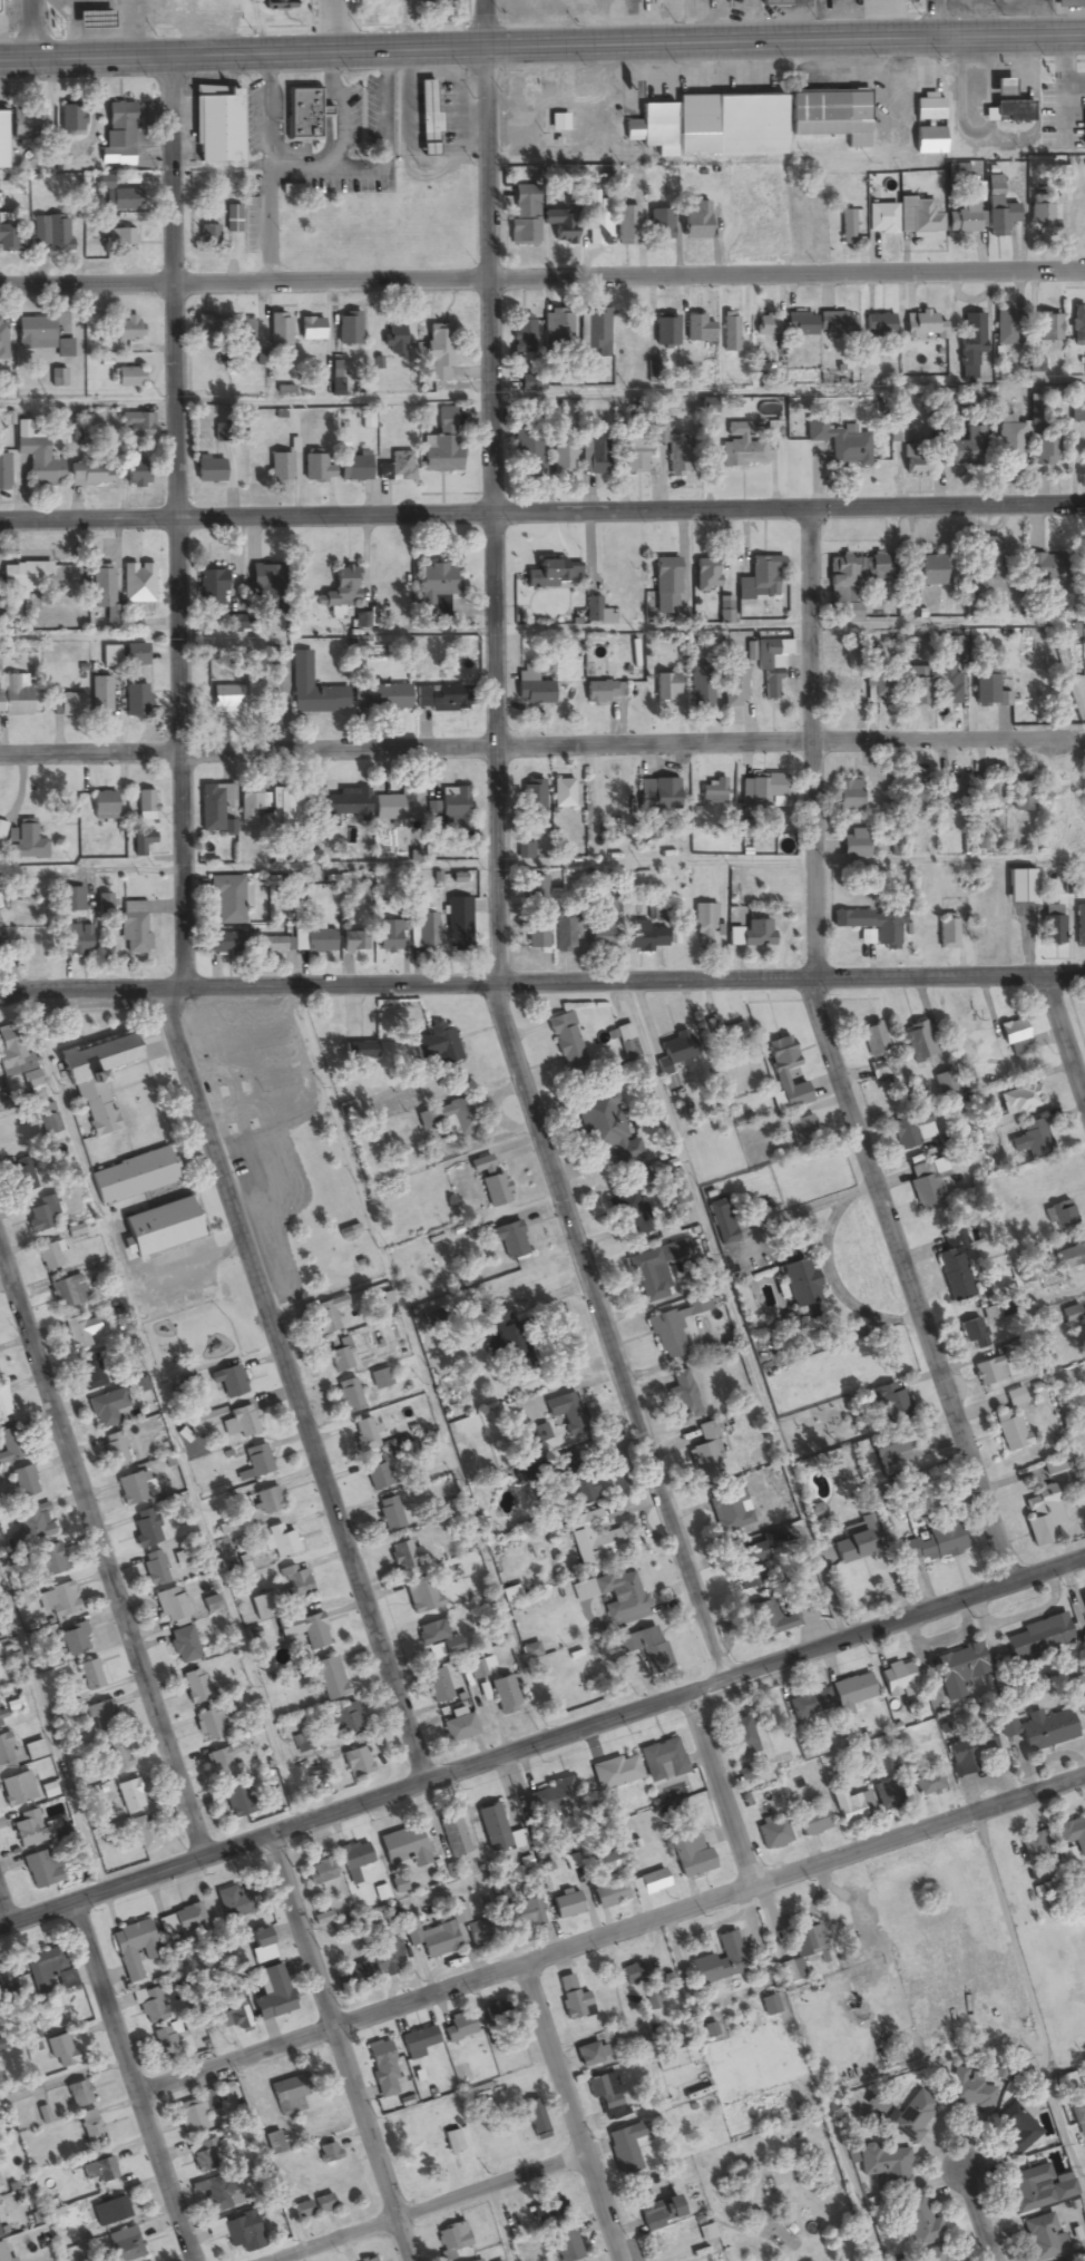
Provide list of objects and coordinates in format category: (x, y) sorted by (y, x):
building: (388, 2)
building: (432, 2)
building: (212, 3)
building: (773, 3)
building: (1071, 3)
building: (276, 4)
road: (934, 18)
building: (90, 21)
road: (29, 28)
road: (541, 43)
road: (1062, 71)
building: (1000, 90)
building: (1010, 113)
building: (303, 116)
building: (830, 116)
building: (70, 119)
building: (427, 119)
building: (23, 126)
building: (119, 126)
building: (217, 126)
building: (928, 127)
building: (715, 129)
building: (1084, 130)
building: (1, 140)
building: (956, 172)
building: (1060, 184)
building: (120, 198)
building: (998, 209)
building: (1039, 215)
building: (522, 217)
building: (903, 218)
building: (962, 220)
building: (694, 221)
building: (560, 226)
building: (597, 226)
building: (624, 226)
building: (659, 226)
building: (52, 234)
building: (8, 236)
building: (207, 236)
building: (121, 240)
road: (541, 273)
building: (800, 325)
building: (833, 325)
building: (768, 327)
building: (878, 327)
building: (923, 327)
building: (207, 328)
building: (1048, 328)
building: (1078, 328)
building: (1007, 329)
building: (126, 330)
building: (311, 330)
building: (349, 330)
building: (698, 330)
building: (242, 331)
building: (280, 331)
building: (557, 331)
building: (665, 332)
building: (35, 333)
building: (595, 333)
building: (730, 333)
building: (522, 334)
building: (2, 340)
building: (394, 342)
building: (971, 348)
building: (438, 354)
building: (128, 379)
building: (531, 383)
building: (58, 386)
building: (1073, 397)
road: (90, 403)
building: (706, 407)
building: (1076, 417)
building: (136, 426)
building: (1008, 442)
building: (441, 445)
building: (840, 445)
building: (672, 448)
building: (740, 448)
building: (964, 450)
building: (526, 451)
building: (1046, 452)
building: (594, 456)
building: (635, 456)
building: (37, 458)
building: (561, 459)
building: (915, 461)
building: (401, 467)
building: (316, 470)
building: (355, 470)
building: (208, 471)
building: (280, 471)
building: (4, 472)
building: (135, 474)
building: (89, 475)
road: (542, 514)
building: (986, 559)
building: (929, 572)
building: (1040, 572)
building: (554, 573)
building: (1083, 574)
building: (705, 575)
building: (262, 578)
building: (760, 579)
building: (852, 583)
building: (137, 584)
building: (343, 586)
building: (434, 586)
building: (665, 586)
building: (20, 588)
building: (209, 588)
building: (109, 602)
building: (234, 625)
road: (686, 627)
building: (131, 655)
building: (109, 656)
building: (769, 667)
building: (948, 685)
building: (531, 686)
building: (733, 686)
building: (844, 686)
building: (917, 686)
building: (666, 688)
building: (987, 690)
building: (596, 693)
building: (701, 693)
building: (314, 694)
building: (14, 695)
building: (99, 698)
building: (388, 698)
building: (234, 699)
building: (439, 699)
building: (136, 701)
building: (70, 705)
road: (539, 749)
building: (763, 791)
building: (712, 792)
building: (954, 792)
building: (561, 795)
building: (657, 795)
building: (990, 796)
building: (848, 797)
building: (920, 797)
building: (1020, 797)
building: (531, 798)
building: (102, 803)
building: (145, 803)
building: (399, 806)
building: (270, 807)
building: (345, 807)
building: (453, 808)
building: (215, 809)
building: (26, 844)
building: (141, 844)
building: (853, 845)
building: (525, 851)
road: (633, 865)
road: (90, 871)
building: (1019, 886)
building: (535, 893)
building: (71, 899)
building: (228, 899)
building: (458, 925)
building: (871, 925)
building: (703, 926)
building: (1079, 926)
building: (134, 927)
building: (602, 929)
building: (1052, 930)
building: (563, 932)
building: (536, 933)
building: (946, 933)
building: (424, 934)
building: (751, 935)
building: (645, 936)
building: (387, 937)
road: (179, 938)
building: (75, 941)
building: (313, 941)
building: (354, 943)
building: (225, 944)
building: (272, 945)
road: (497, 973)
road: (551, 984)
road: (9, 994)
building: (725, 1033)
road: (1065, 1036)
building: (1015, 1037)
building: (873, 1041)
building: (566, 1042)
building: (921, 1042)
building: (437, 1045)
building: (11, 1049)
building: (359, 1052)
building: (673, 1056)
road: (830, 1059)
building: (785, 1073)
building: (32, 1081)
building: (945, 1083)
building: (92, 1085)
building: (1019, 1099)
building: (452, 1119)
building: (801, 1127)
building: (606, 1128)
building: (912, 1130)
building: (1032, 1139)
building: (131, 1177)
building: (23, 1179)
building: (490, 1182)
building: (928, 1185)
building: (1060, 1216)
building: (631, 1218)
building: (37, 1219)
building: (722, 1221)
building: (159, 1228)
building: (507, 1240)
building: (49, 1257)
building: (1069, 1257)
building: (955, 1269)
building: (655, 1270)
building: (795, 1283)
building: (67, 1292)
building: (328, 1315)
building: (674, 1328)
building: (79, 1333)
building: (974, 1335)
building: (504, 1341)
building: (340, 1357)
building: (995, 1370)
building: (90, 1373)
building: (228, 1382)
building: (348, 1396)
building: (683, 1396)
building: (1014, 1397)
building: (888, 1403)
building: (3, 1404)
building: (107, 1409)
road: (160, 1409)
building: (566, 1413)
building: (201, 1423)
building: (241, 1423)
building: (1010, 1431)
building: (364, 1435)
building: (9, 1446)
building: (890, 1449)
building: (115, 1451)
building: (706, 1454)
building: (257, 1461)
building: (377, 1474)
building: (580, 1482)
building: (23, 1483)
building: (135, 1488)
building: (268, 1501)
building: (727, 1513)
building: (389, 1514)
building: (1043, 1516)
building: (35, 1523)
building: (146, 1530)
building: (594, 1538)
building: (934, 1538)
building: (857, 1541)
building: (281, 1542)
road: (101, 1555)
building: (404, 1556)
building: (46, 1562)
building: (747, 1566)
building: (155, 1570)
building: (295, 1583)
building: (419, 1595)
building: (620, 1596)
building: (60, 1601)
building: (1083, 1601)
building: (172, 1607)
building: (768, 1620)
building: (312, 1633)
building: (1038, 1637)
building: (438, 1638)
building: (74, 1640)
building: (184, 1646)
building: (646, 1649)
building: (958, 1670)
building: (90, 1675)
building: (329, 1679)
building: (897, 1679)
building: (437, 1686)
building: (195, 1687)
building: (1077, 1687)
building: (850, 1692)
building: (502, 1696)
building: (810, 1704)
building: (102, 1717)
building: (346, 1722)
building: (0, 1723)
building: (211, 1726)
building: (458, 1728)
building: (1038, 1729)
building: (742, 1737)
road: (50, 1741)
road: (542, 1743)
building: (6, 1751)
building: (33, 1752)
building: (969, 1753)
building: (119, 1755)
building: (662, 1761)
building: (224, 1763)
building: (355, 1763)
building: (615, 1772)
building: (928, 1783)
building: (17, 1790)
building: (49, 1791)
building: (130, 1795)
building: (887, 1795)
building: (553, 1800)
building: (236, 1802)
building: (847, 1806)
building: (811, 1822)
building: (492, 1828)
building: (27, 1830)
building: (772, 1833)
building: (144, 1834)
building: (1072, 1835)
building: (453, 1836)
building: (401, 1845)
building: (1035, 1848)
building: (354, 1856)
building: (691, 1856)
building: (606, 1863)
building: (40, 1871)
building: (320, 1873)
building: (649, 1883)
building: (609, 1895)
building: (229, 1904)
building: (566, 1906)
road: (4, 1910)
building: (527, 1913)
building: (458, 1914)
building: (188, 1920)
building: (472, 1933)
road: (610, 1934)
building: (258, 1939)
building: (438, 1941)
building: (134, 1949)
building: (801, 1953)
building: (385, 1958)
building: (720, 1962)
building: (48, 1971)
building: (631, 1975)
building: (345, 1977)
building: (1, 1987)
building: (273, 1997)
building: (573, 1999)
building: (769, 2006)
building: (149, 2007)
building: (497, 2014)
building: (235, 2015)
building: (459, 2028)
building: (172, 2041)
building: (418, 2043)
road: (340, 2048)
building: (59, 2052)
building: (587, 2056)
building: (675, 2058)
building: (382, 2069)
road: (134, 2082)
building: (287, 2091)
building: (604, 2091)
building: (968, 2091)
building: (79, 2094)
building: (1078, 2109)
building: (195, 2113)
road: (564, 2113)
building: (913, 2116)
building: (536, 2121)
building: (90, 2126)
building: (1017, 2127)
building: (626, 2148)
building: (325, 2153)
building: (203, 2157)
building: (99, 2169)
building: (886, 2169)
road: (850, 2184)
building: (1037, 2189)
building: (1, 2190)
building: (218, 2195)
building: (323, 2204)
road: (424, 2208)
building: (548, 2210)
building: (301, 2211)
building: (657, 2211)
road: (979, 2211)
building: (109, 2212)
building: (919, 2222)
building: (241, 2234)
building: (452, 2235)
building: (1042, 2238)
building: (125, 2245)
building: (565, 2245)
building: (3, 2254)
building: (934, 2254)
building: (369, 2259)

